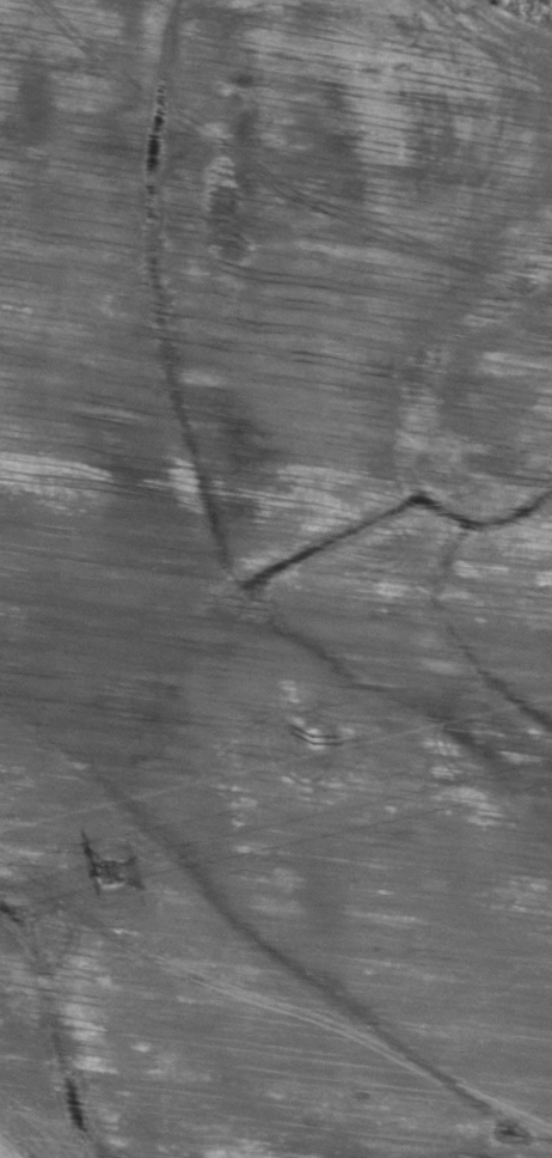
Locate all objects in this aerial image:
power tower: (99, 868)

